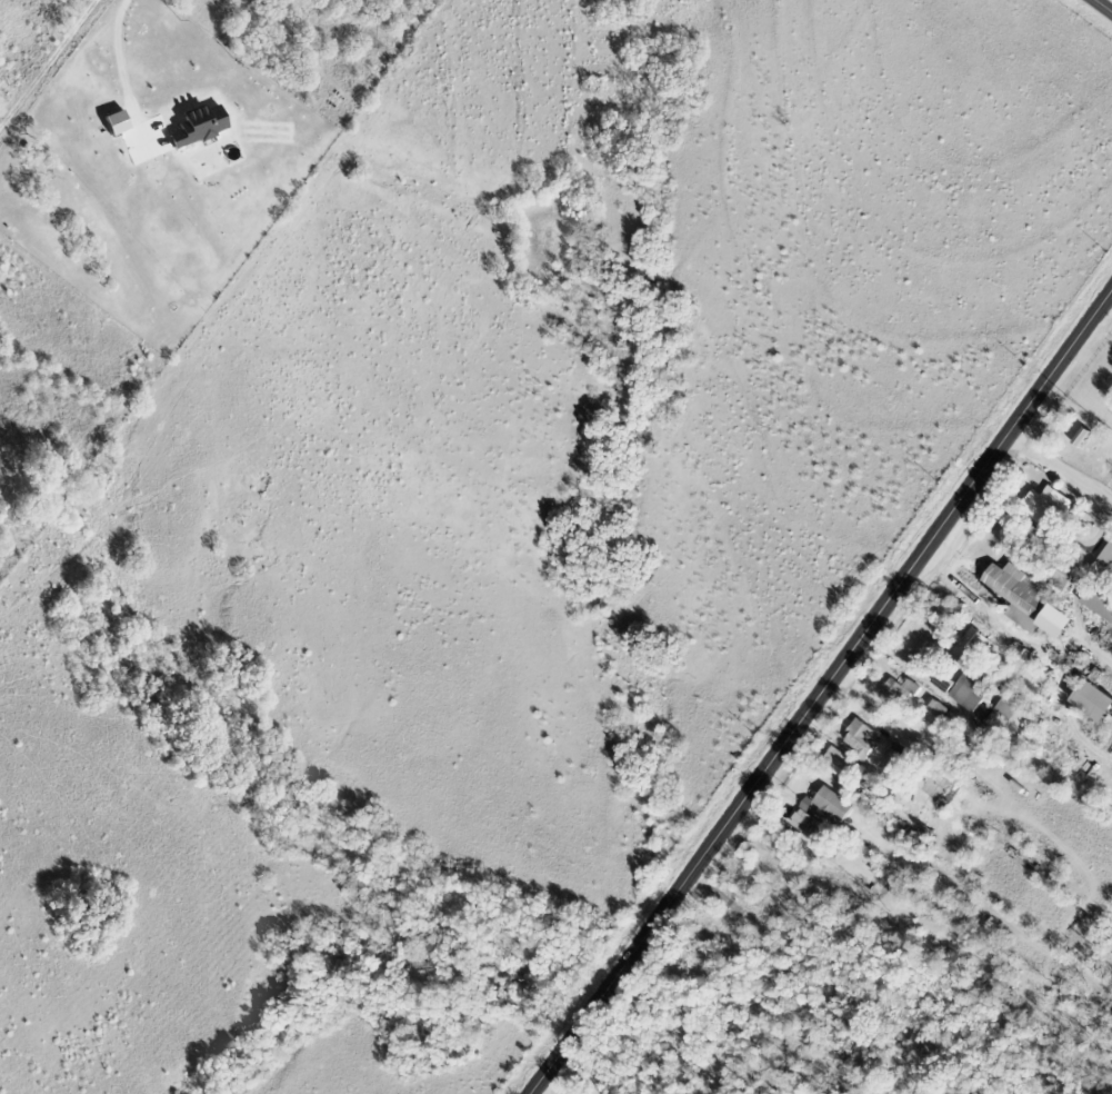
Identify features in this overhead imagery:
road: (1103, 6)
road: (46, 59)
road: (121, 70)
building: (120, 122)
building: (202, 126)
road: (1111, 295)
road: (1089, 370)
road: (1060, 467)
building: (1043, 503)
building: (1106, 555)
road: (1085, 560)
building: (1060, 576)
building: (1016, 587)
building: (1096, 605)
building: (1049, 620)
road: (1012, 633)
building: (969, 649)
building: (899, 690)
road: (822, 693)
building: (966, 694)
building: (1088, 700)
building: (934, 708)
building: (859, 739)
building: (895, 755)
building: (839, 760)
building: (802, 817)

